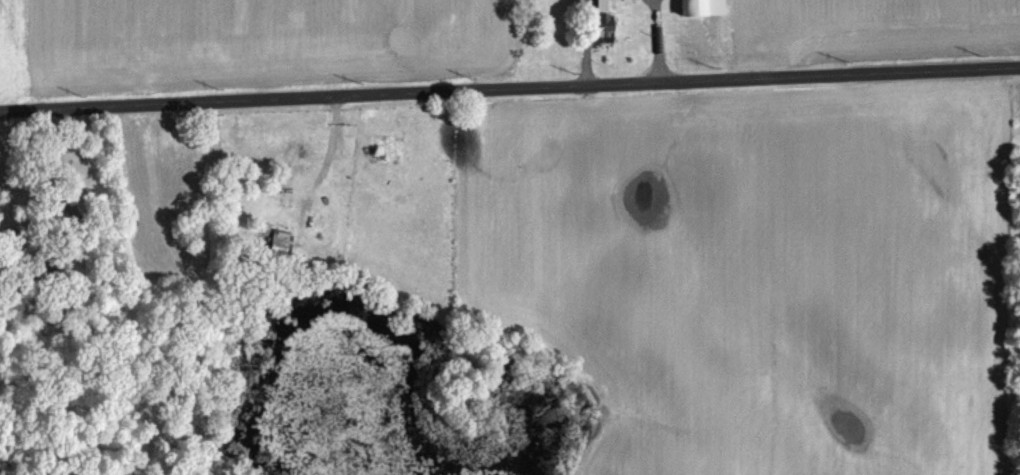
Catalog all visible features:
building: (703, 6)
building: (604, 22)
road: (510, 92)
building: (305, 154)
building: (281, 239)

